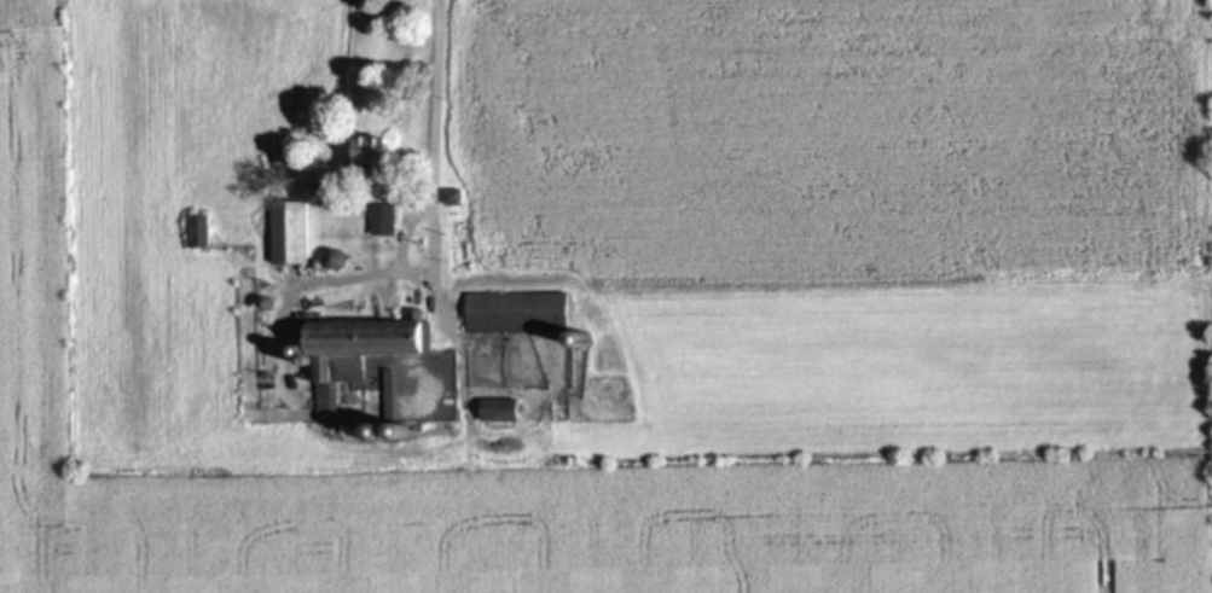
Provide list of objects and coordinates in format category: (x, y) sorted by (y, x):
road: (434, 104)
building: (370, 156)
building: (453, 196)
building: (384, 220)
building: (199, 229)
building: (290, 232)
building: (332, 258)
building: (315, 266)
road: (407, 274)
building: (263, 303)
building: (518, 313)
building: (580, 338)
building: (359, 347)
building: (297, 351)
building: (308, 362)
building: (392, 394)
building: (499, 408)
building: (361, 430)
building: (379, 431)
building: (402, 431)
road: (338, 448)

